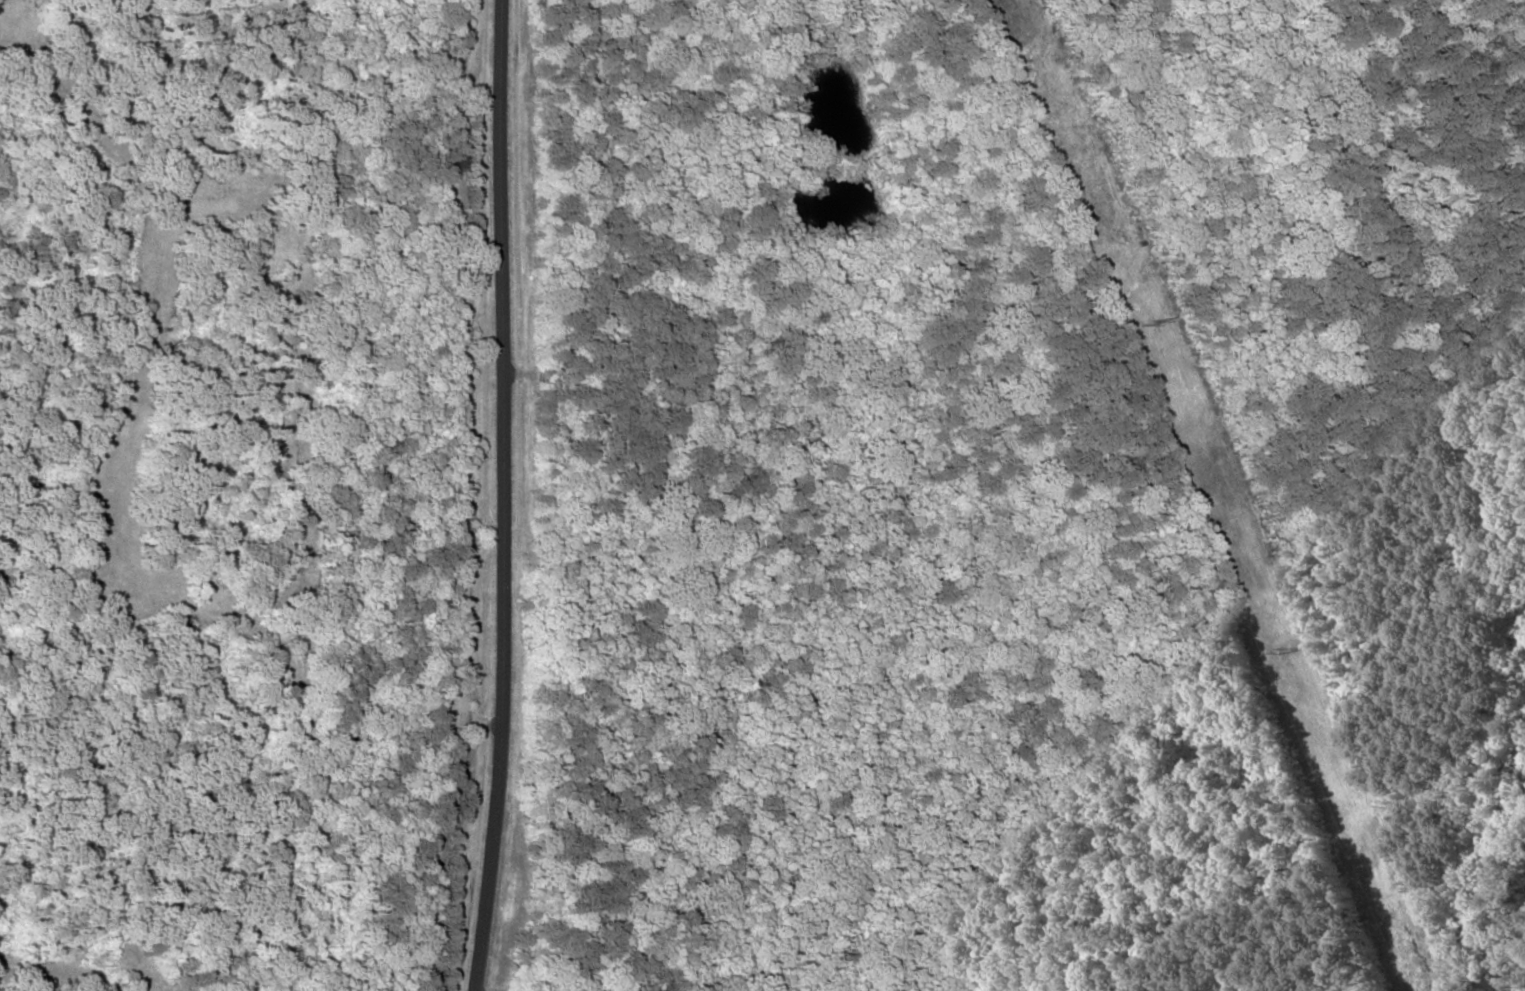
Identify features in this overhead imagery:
power tower: (1143, 323)
road: (497, 495)
power tower: (1283, 651)

